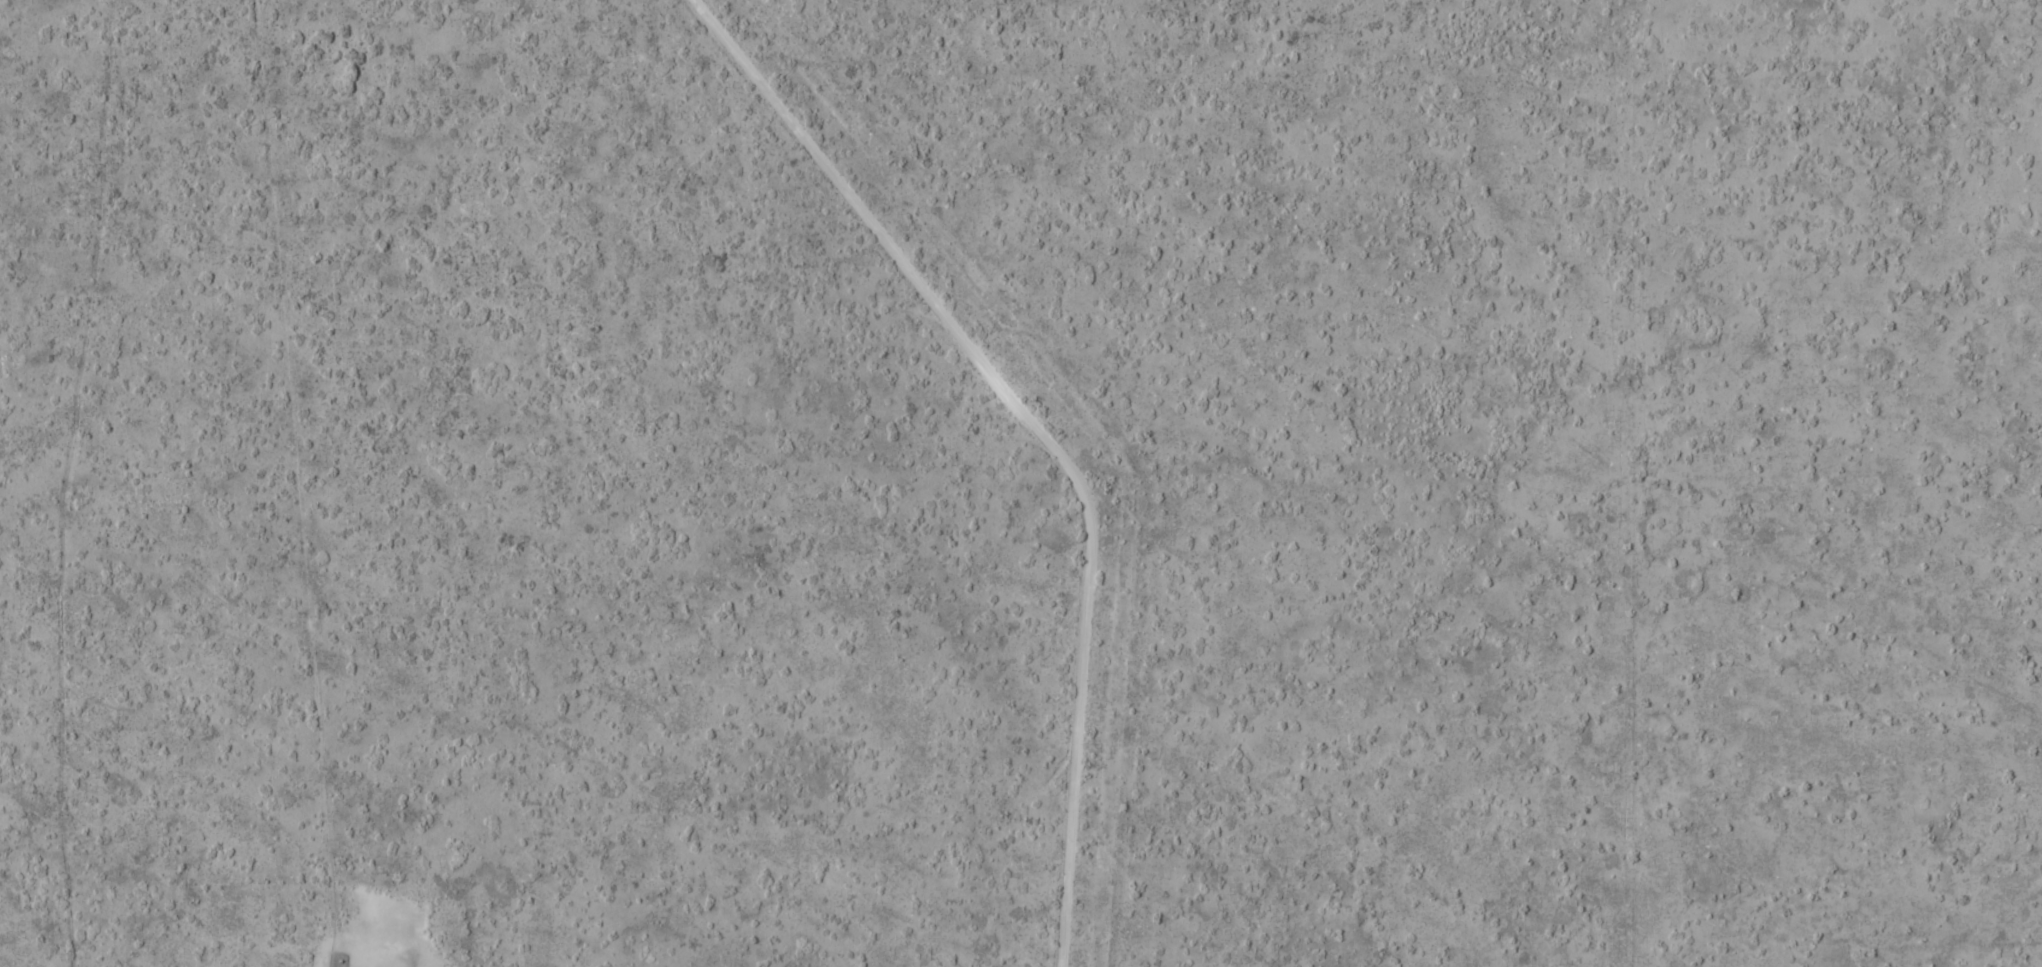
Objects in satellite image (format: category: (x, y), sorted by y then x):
road: (1042, 436)

